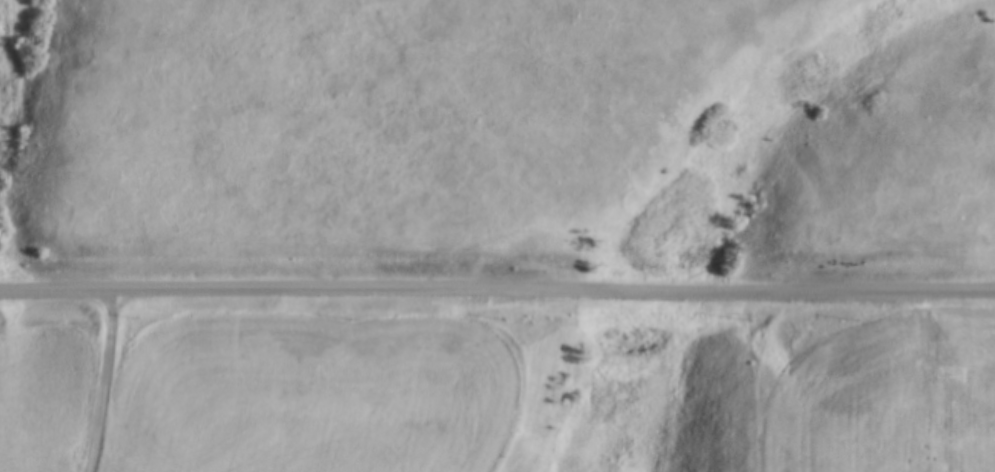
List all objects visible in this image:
road: (497, 288)
road: (106, 382)

